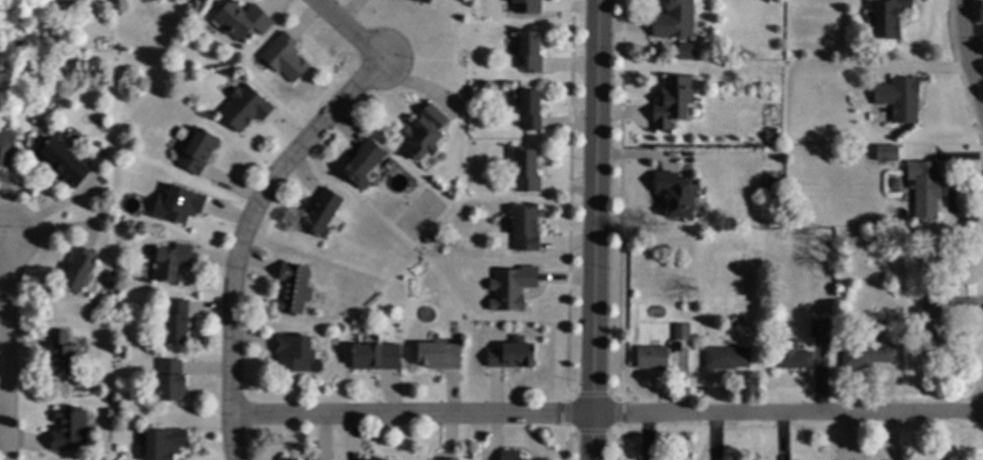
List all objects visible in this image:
building: (424, 1)
building: (524, 6)
building: (886, 18)
building: (673, 20)
building: (240, 21)
road: (349, 30)
building: (685, 51)
road: (968, 51)
building: (530, 52)
building: (284, 58)
building: (898, 99)
building: (673, 101)
building: (245, 108)
building: (528, 108)
building: (424, 132)
building: (770, 137)
building: (4, 140)
building: (890, 150)
building: (197, 151)
building: (63, 163)
building: (361, 164)
building: (525, 171)
building: (924, 189)
building: (674, 194)
road: (568, 200)
road: (619, 200)
building: (179, 204)
building: (320, 212)
building: (121, 225)
road: (4, 227)
road: (593, 229)
building: (524, 230)
road: (241, 234)
building: (898, 248)
building: (170, 263)
building: (77, 270)
building: (911, 273)
building: (293, 289)
building: (511, 289)
building: (932, 321)
building: (175, 324)
building: (818, 329)
building: (681, 333)
road: (7, 344)
building: (294, 353)
building: (61, 354)
building: (867, 354)
building: (791, 355)
building: (438, 356)
building: (511, 356)
building: (375, 357)
building: (726, 358)
building: (651, 359)
building: (170, 381)
road: (591, 393)
road: (565, 412)
road: (616, 412)
road: (607, 413)
building: (68, 428)
road: (590, 432)
road: (564, 441)
road: (615, 441)
building: (163, 443)
building: (508, 455)
building: (285, 459)
building: (448, 459)

